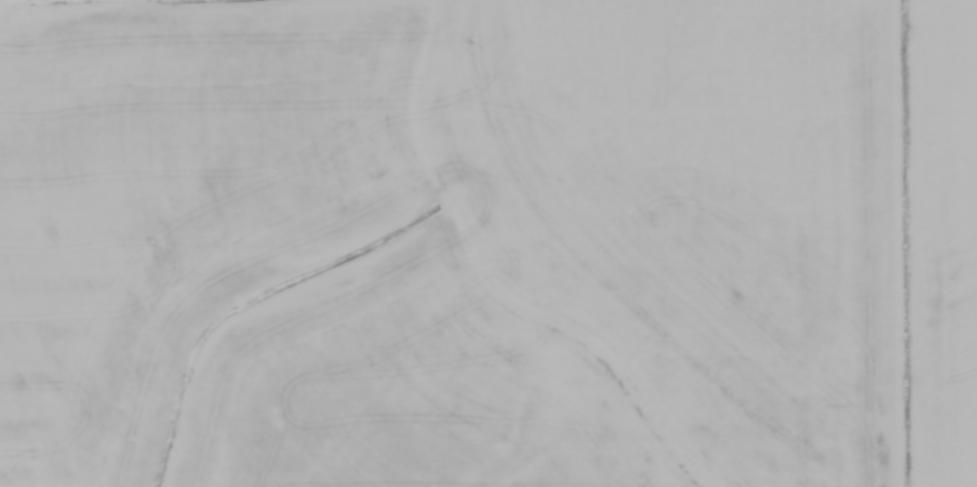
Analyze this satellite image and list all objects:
crop: (941, 242)

